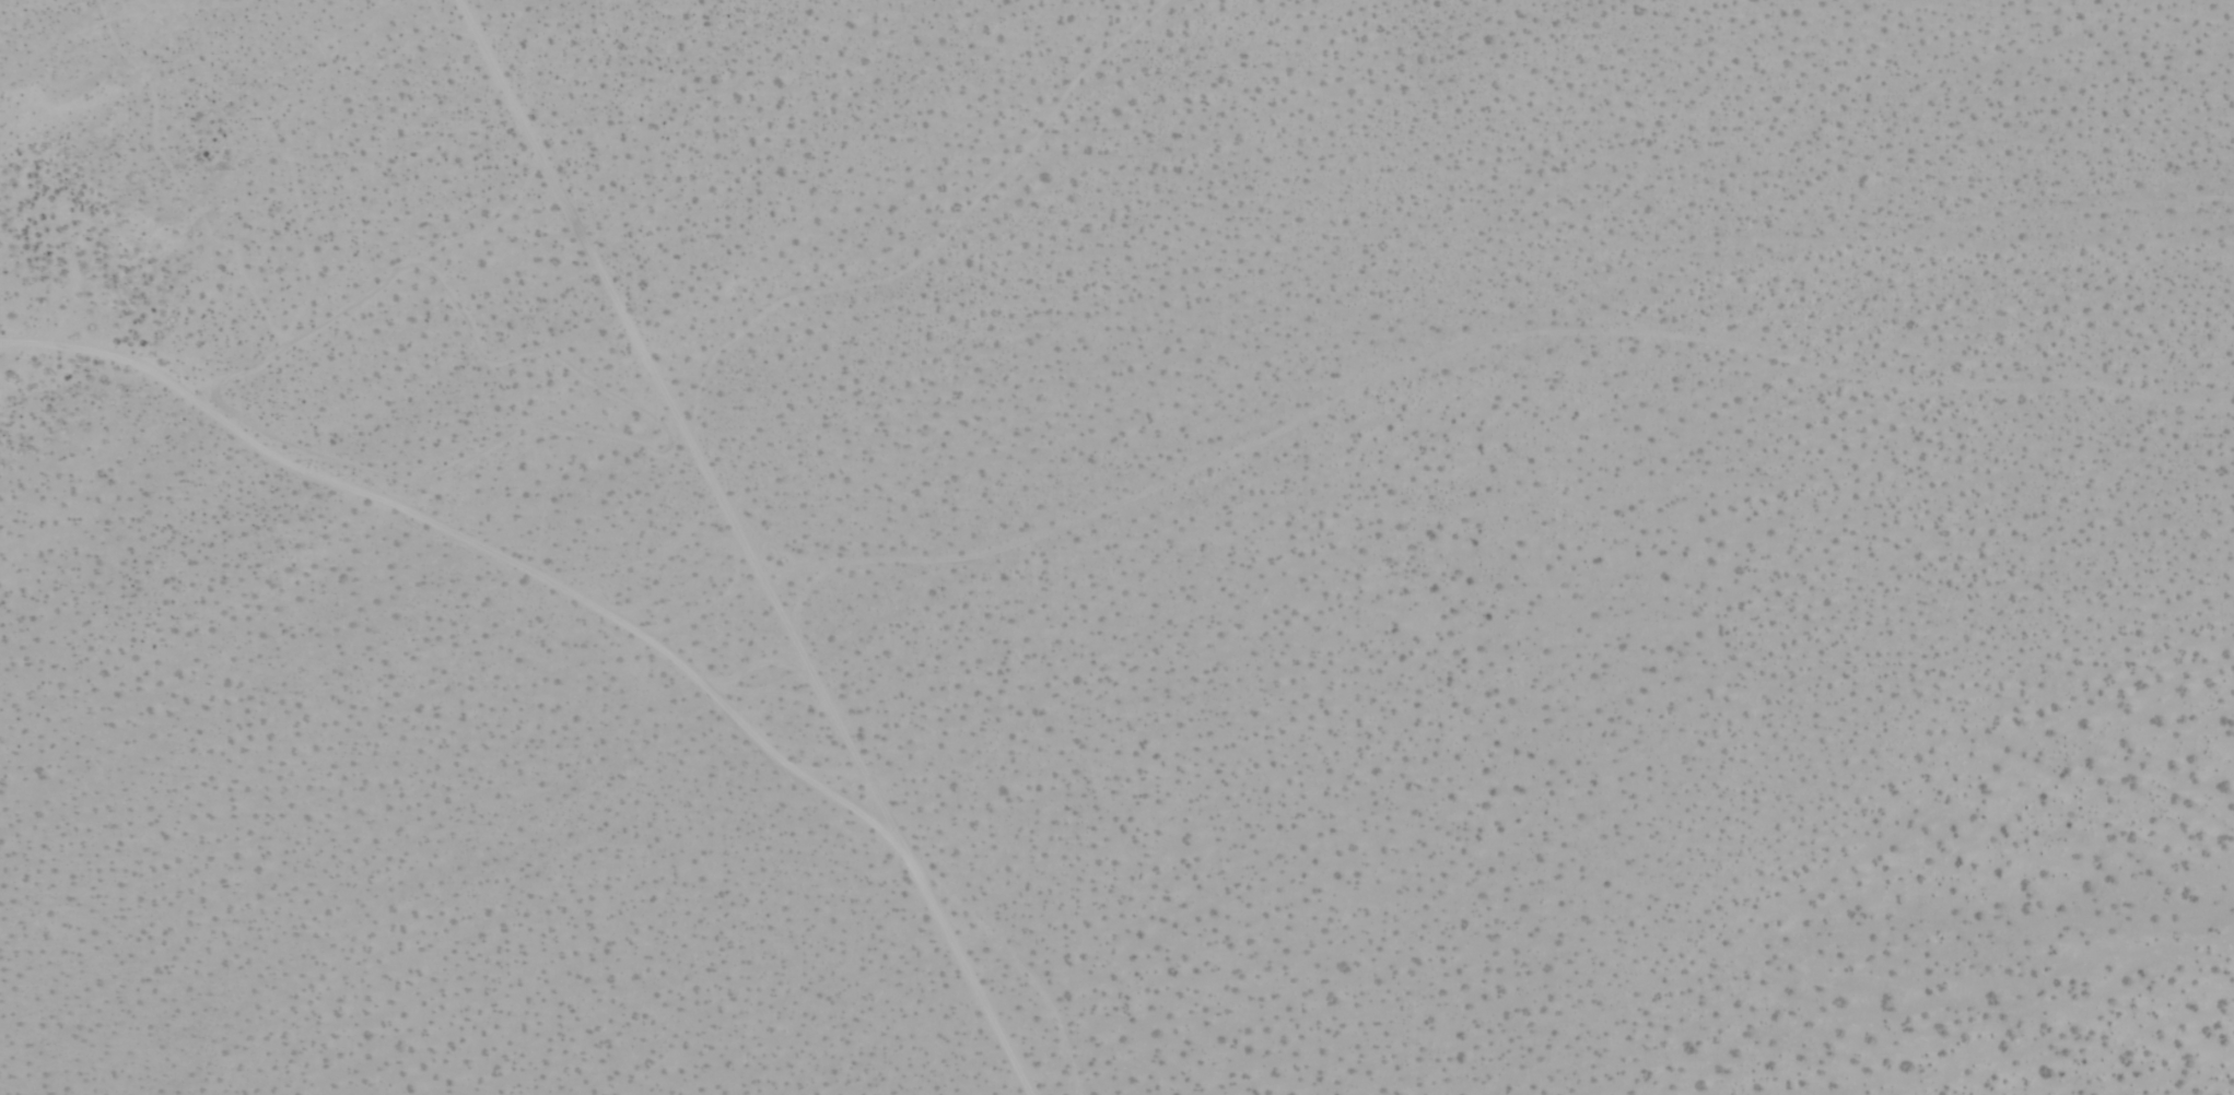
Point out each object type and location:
road: (668, 410)
road: (629, 575)

